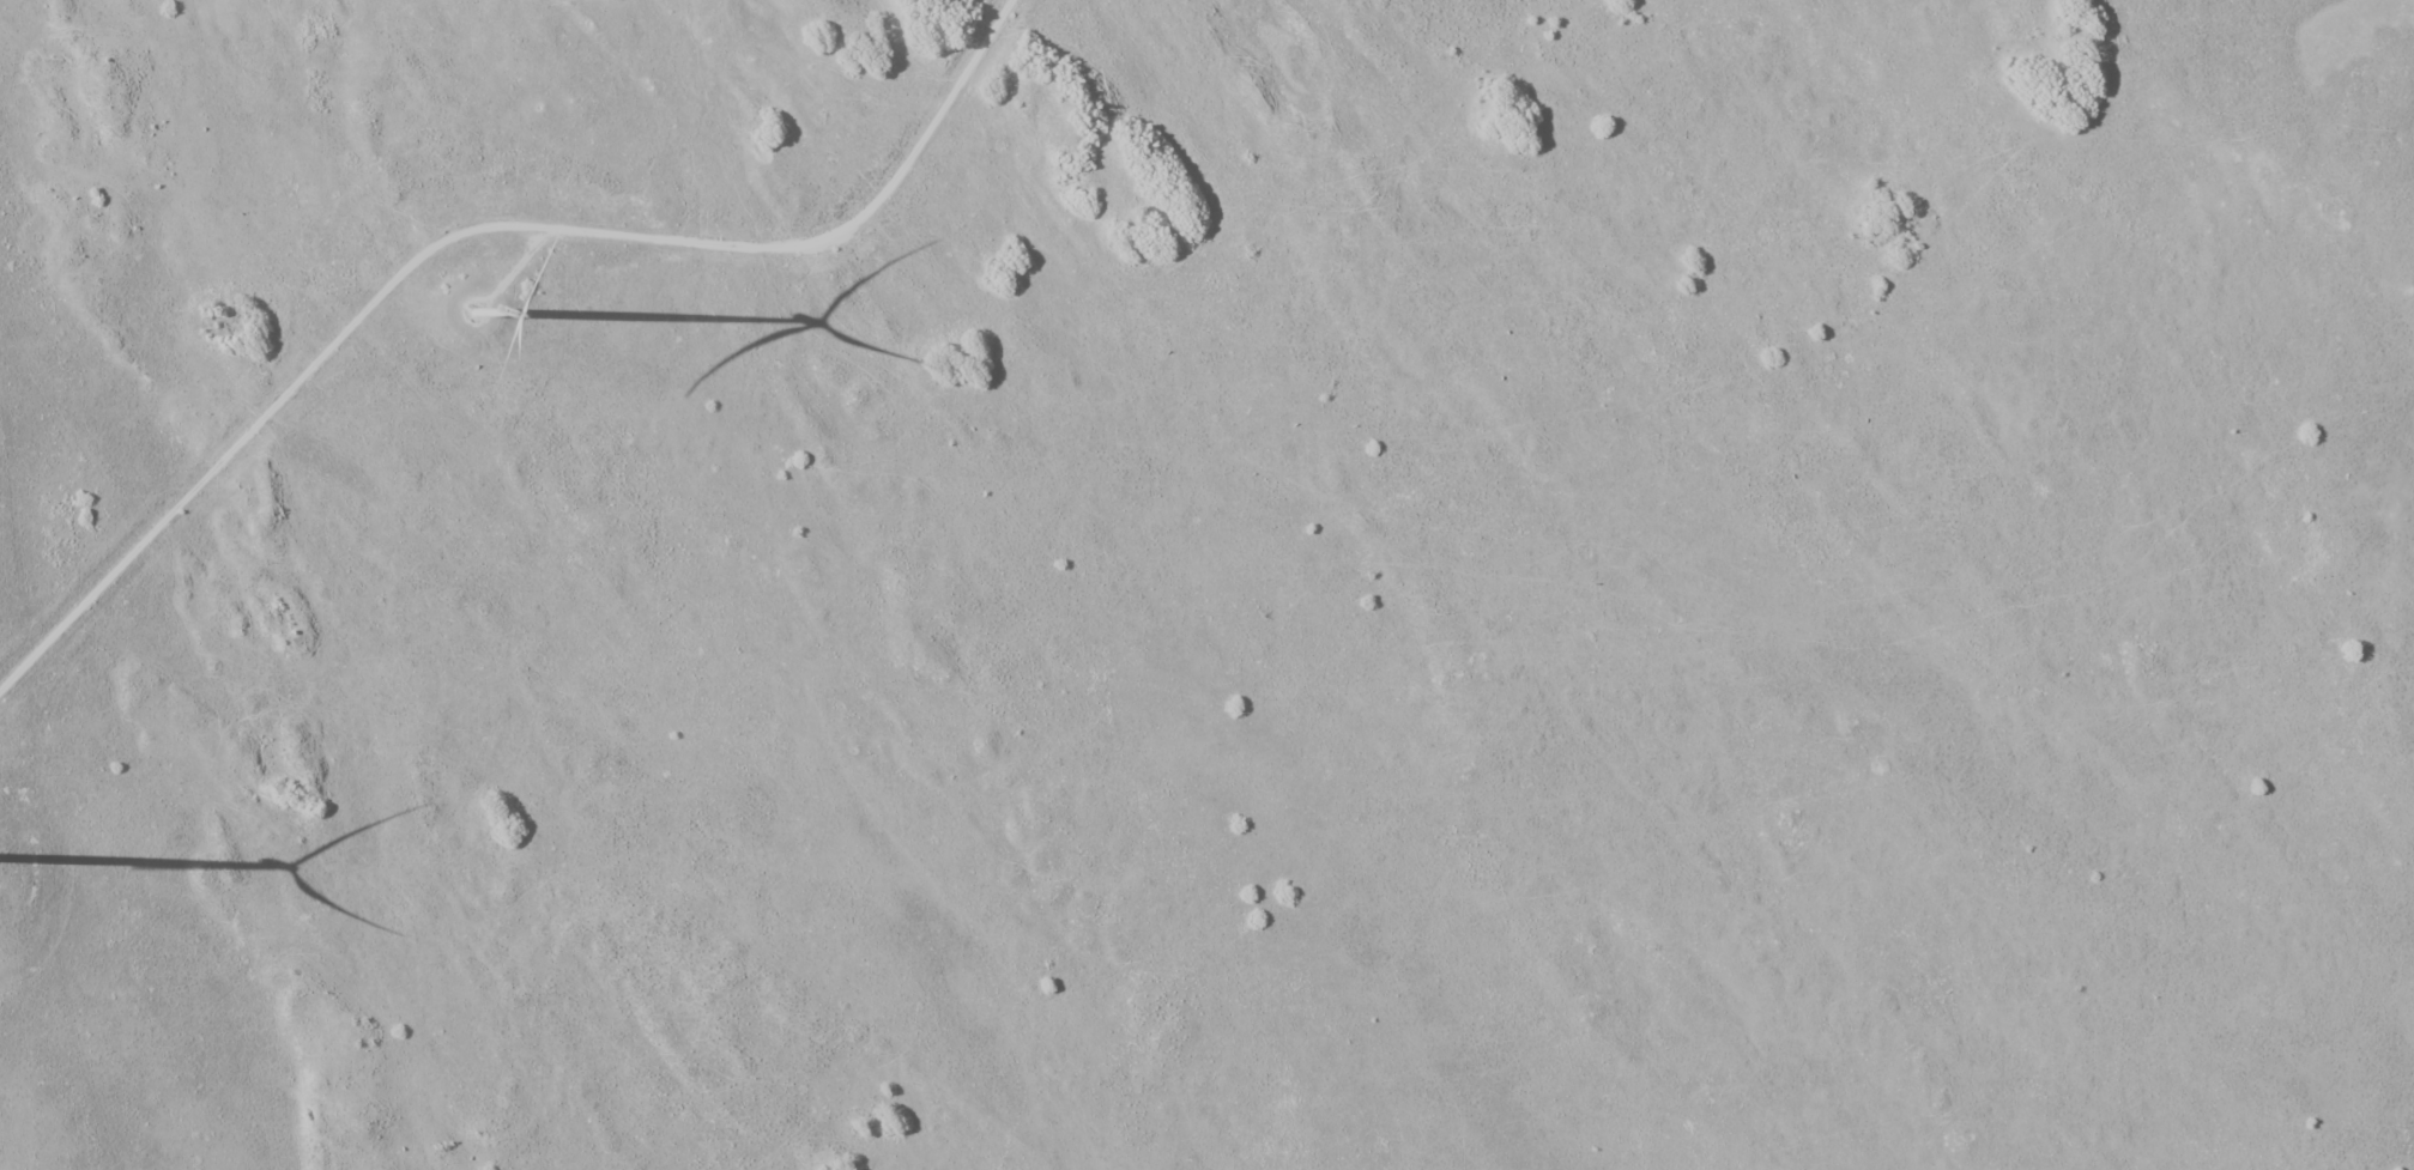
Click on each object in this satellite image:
wind turbine: (473, 314)
road: (258, 608)

